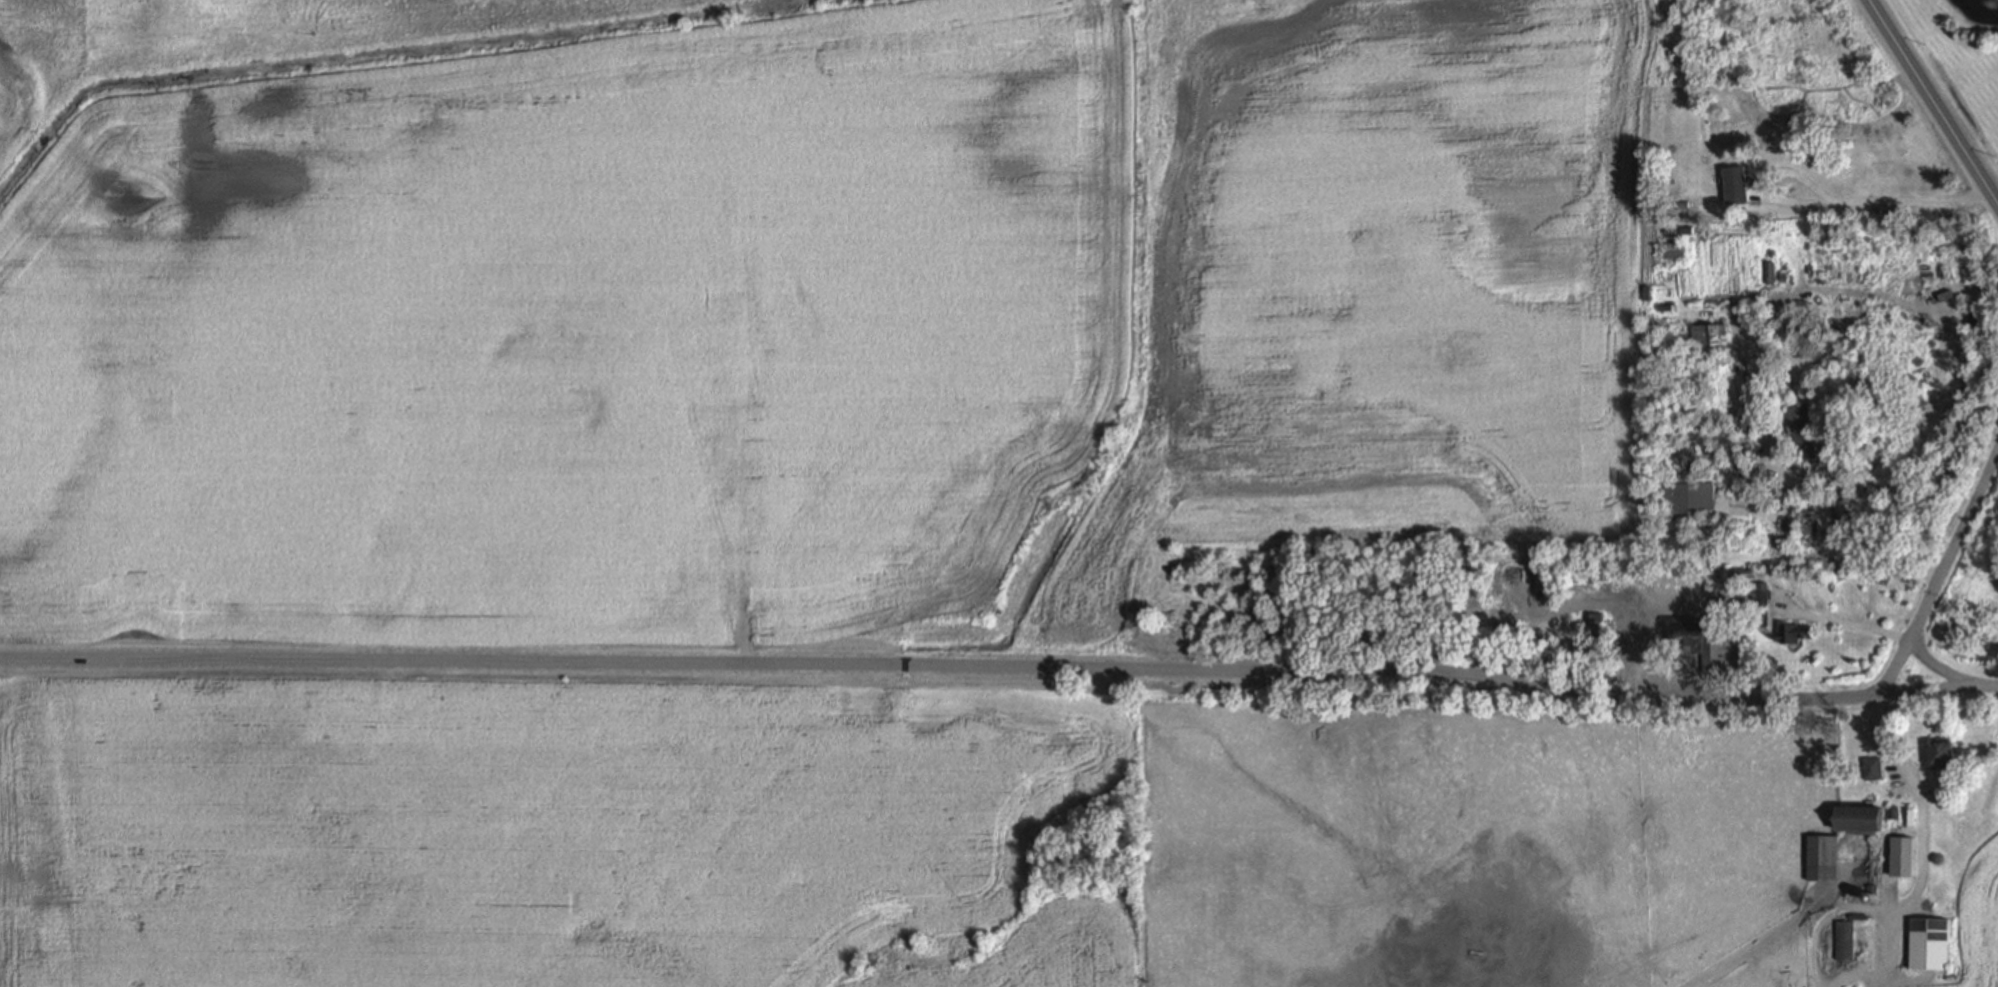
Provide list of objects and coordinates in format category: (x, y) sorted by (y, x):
road: (1931, 103)
building: (1736, 187)
building: (1692, 200)
road: (1870, 203)
building: (1673, 248)
building: (1969, 276)
building: (1745, 316)
building: (1706, 339)
building: (1674, 417)
building: (1800, 422)
road: (745, 446)
building: (1738, 463)
building: (1713, 504)
building: (1793, 523)
building: (1850, 527)
road: (1837, 546)
road: (1940, 571)
building: (1743, 574)
building: (1707, 591)
building: (1759, 606)
road: (1841, 623)
building: (1588, 629)
building: (1795, 633)
building: (1699, 638)
road: (1000, 666)
road: (1935, 669)
building: (1945, 754)
building: (1873, 770)
building: (1895, 815)
building: (1909, 818)
building: (1859, 819)
road: (1923, 832)
building: (1903, 856)
building: (1823, 859)
building: (1871, 868)
crop: (1969, 921)
building: (1844, 940)
building: (1922, 941)

